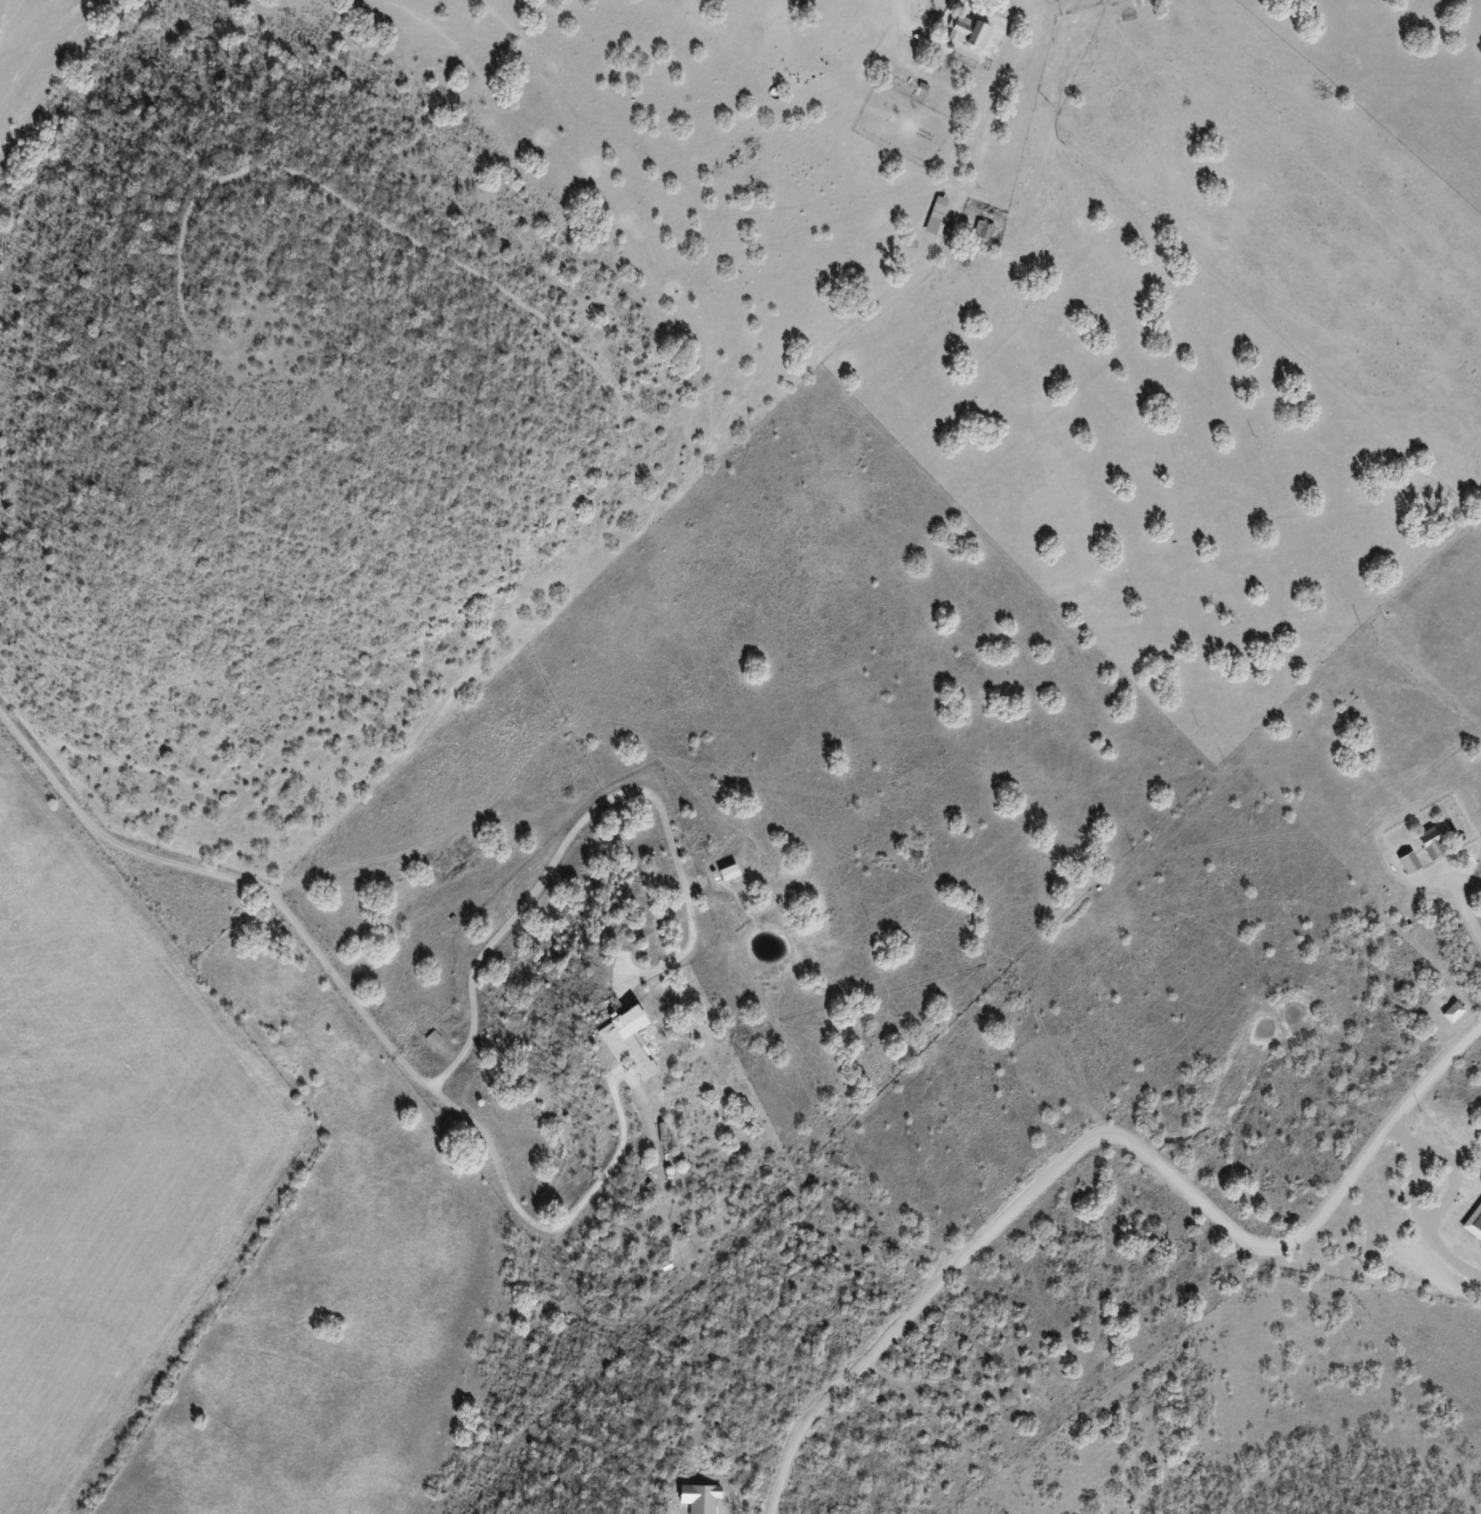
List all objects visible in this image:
building: (967, 33)
building: (942, 52)
road: (605, 378)
building: (1431, 845)
building: (1408, 864)
road: (1466, 925)
building: (1452, 1013)
building: (434, 1040)
building: (624, 1042)
road: (1212, 1301)

